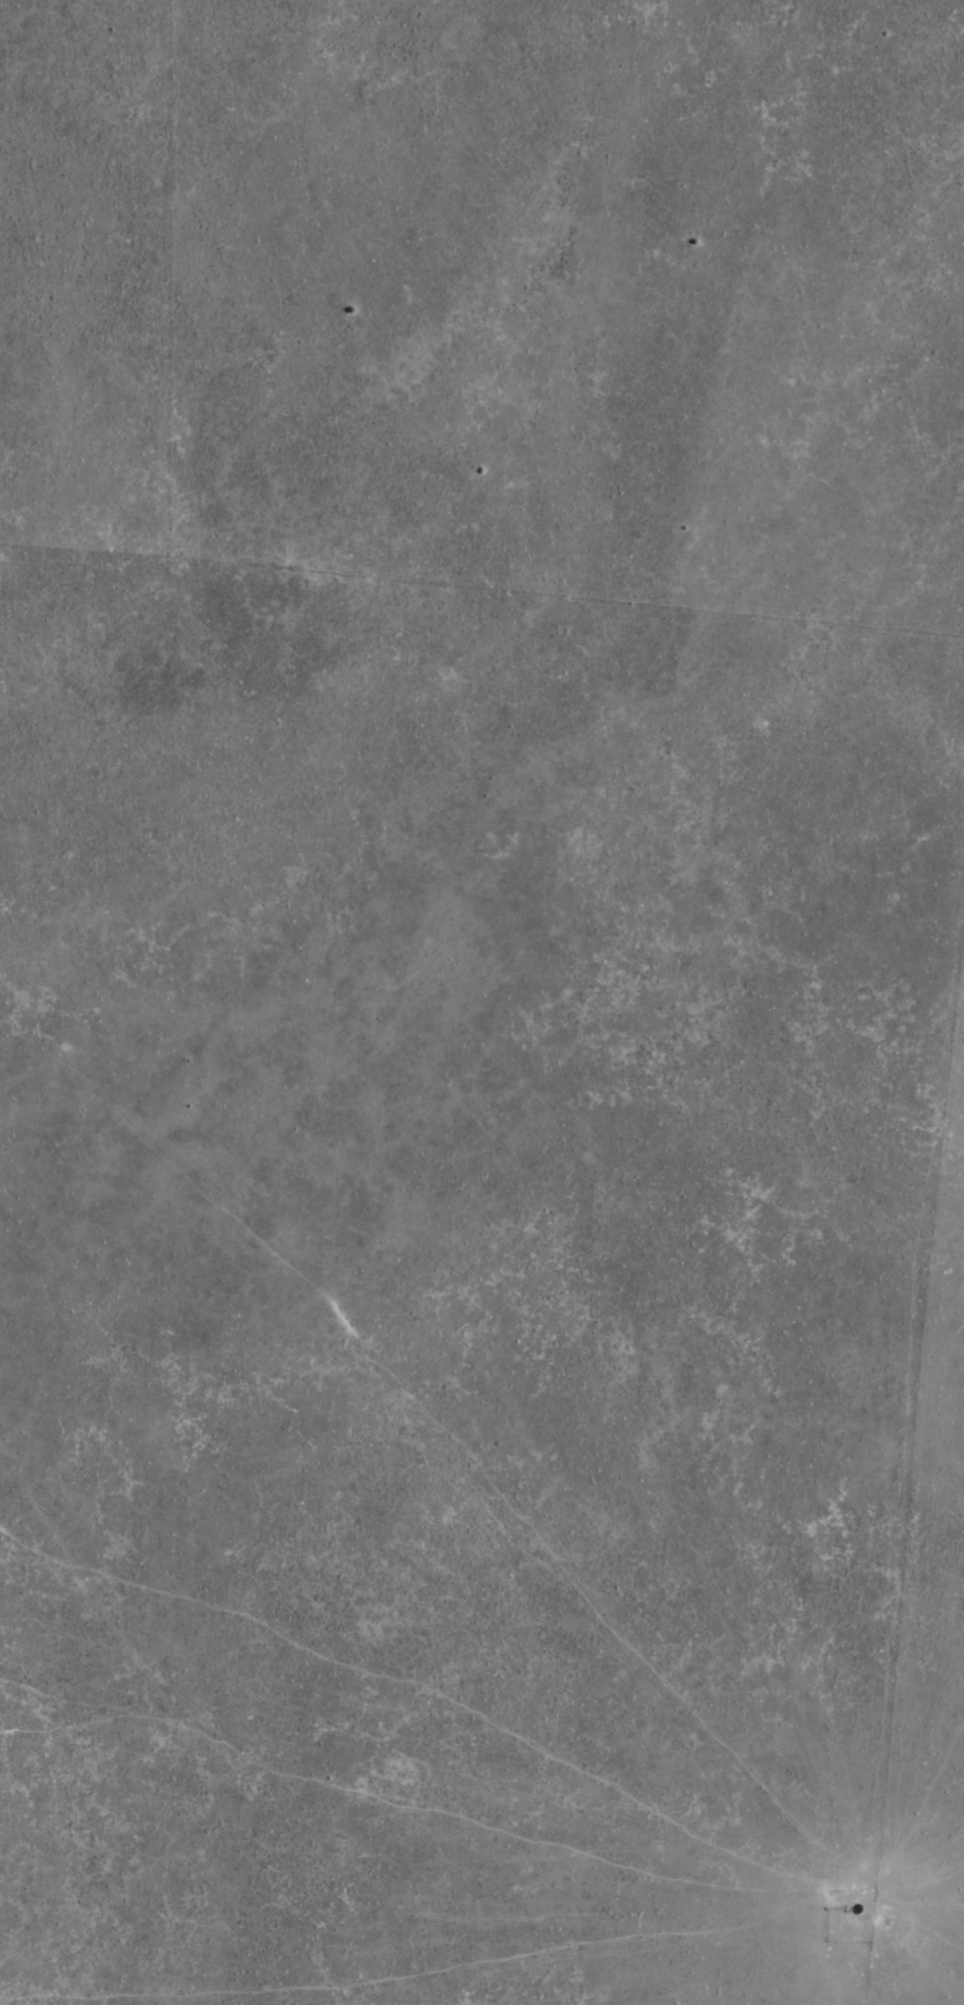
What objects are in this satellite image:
road: (871, 1917)

